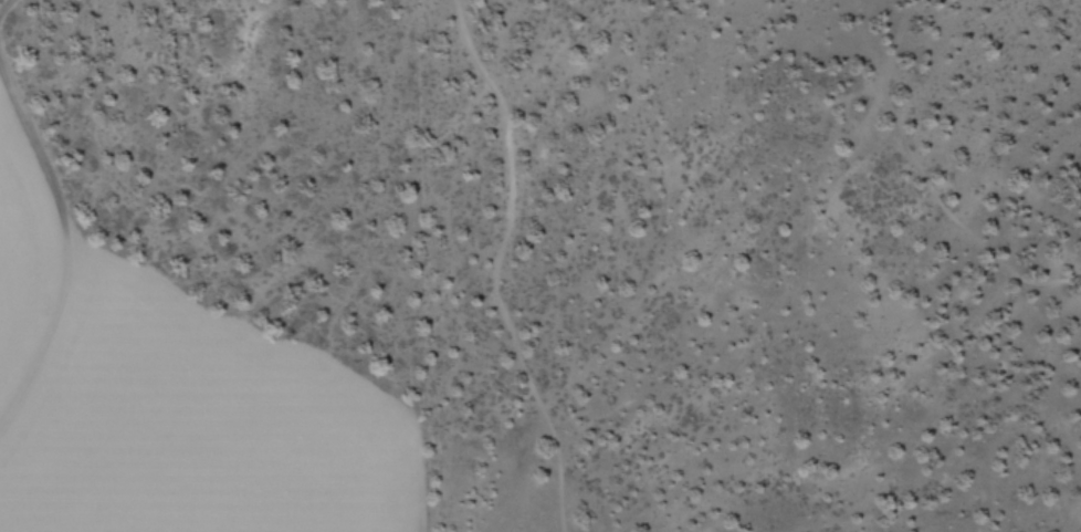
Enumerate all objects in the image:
road: (63, 241)
crop: (160, 373)

